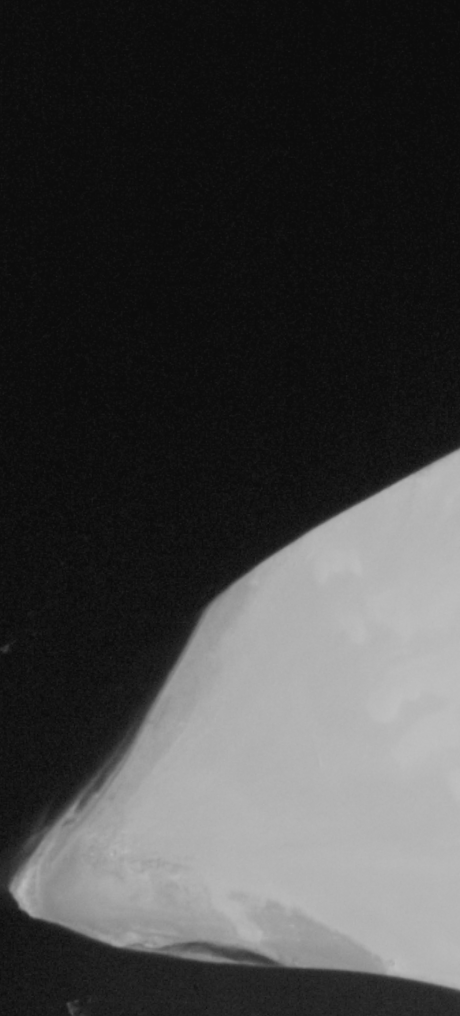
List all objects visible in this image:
river: (142, 943)

